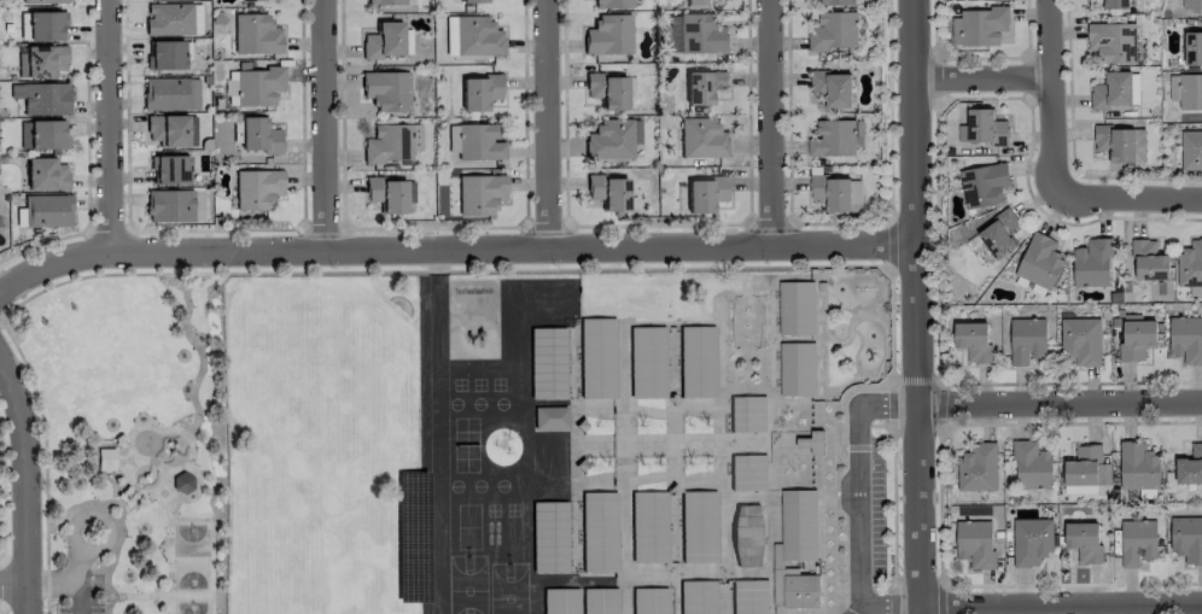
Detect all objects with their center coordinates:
building: (251, 0)
building: (46, 1)
building: (473, 1)
building: (386, 2)
building: (613, 2)
building: (698, 2)
building: (834, 2)
building: (1115, 4)
building: (1191, 4)
building: (168, 19)
building: (42, 25)
building: (979, 27)
building: (833, 31)
building: (695, 34)
building: (256, 35)
building: (450, 35)
building: (608, 35)
building: (477, 36)
building: (384, 41)
building: (1111, 42)
building: (1192, 47)
building: (165, 55)
building: (41, 60)
road: (986, 81)
building: (253, 87)
building: (704, 87)
building: (832, 88)
building: (386, 90)
building: (611, 90)
building: (1111, 90)
building: (170, 93)
building: (479, 93)
building: (1190, 93)
building: (42, 99)
road: (1054, 99)
road: (105, 124)
road: (323, 124)
road: (542, 125)
road: (765, 125)
building: (985, 128)
building: (171, 130)
building: (42, 135)
building: (259, 136)
building: (608, 139)
building: (702, 139)
building: (832, 139)
building: (390, 142)
building: (479, 142)
building: (1120, 144)
building: (1191, 151)
building: (170, 170)
building: (46, 174)
building: (982, 185)
building: (257, 188)
building: (608, 192)
building: (836, 193)
building: (387, 194)
building: (480, 194)
building: (706, 194)
road: (1127, 198)
building: (169, 206)
building: (47, 210)
building: (1000, 234)
road: (888, 242)
road: (454, 250)
building: (1039, 262)
building: (1149, 262)
building: (1092, 264)
building: (1190, 264)
road: (561, 269)
road: (103, 273)
road: (918, 306)
building: (794, 308)
building: (1136, 339)
building: (1185, 339)
building: (1026, 340)
building: (973, 341)
building: (1080, 341)
building: (596, 357)
building: (696, 361)
building: (547, 362)
building: (647, 362)
building: (797, 368)
road: (941, 380)
road: (1061, 404)
building: (746, 413)
building: (549, 417)
park: (130, 442)
building: (812, 443)
building: (1031, 466)
building: (1138, 467)
building: (1190, 467)
building: (978, 468)
building: (1086, 468)
road: (45, 470)
building: (747, 473)
building: (181, 483)
road: (22, 490)
building: (1084, 490)
road: (857, 504)
building: (798, 525)
building: (698, 526)
building: (648, 527)
building: (599, 531)
building: (747, 536)
building: (412, 537)
building: (548, 537)
building: (1186, 539)
building: (1031, 542)
building: (1083, 542)
building: (1137, 542)
building: (974, 543)
park: (189, 556)
road: (69, 578)
road: (11, 581)
park: (466, 584)
park: (508, 587)
road: (939, 592)
road: (1061, 596)
building: (696, 597)
building: (748, 597)
building: (559, 601)
building: (600, 601)
building: (648, 601)
park: (191, 606)

